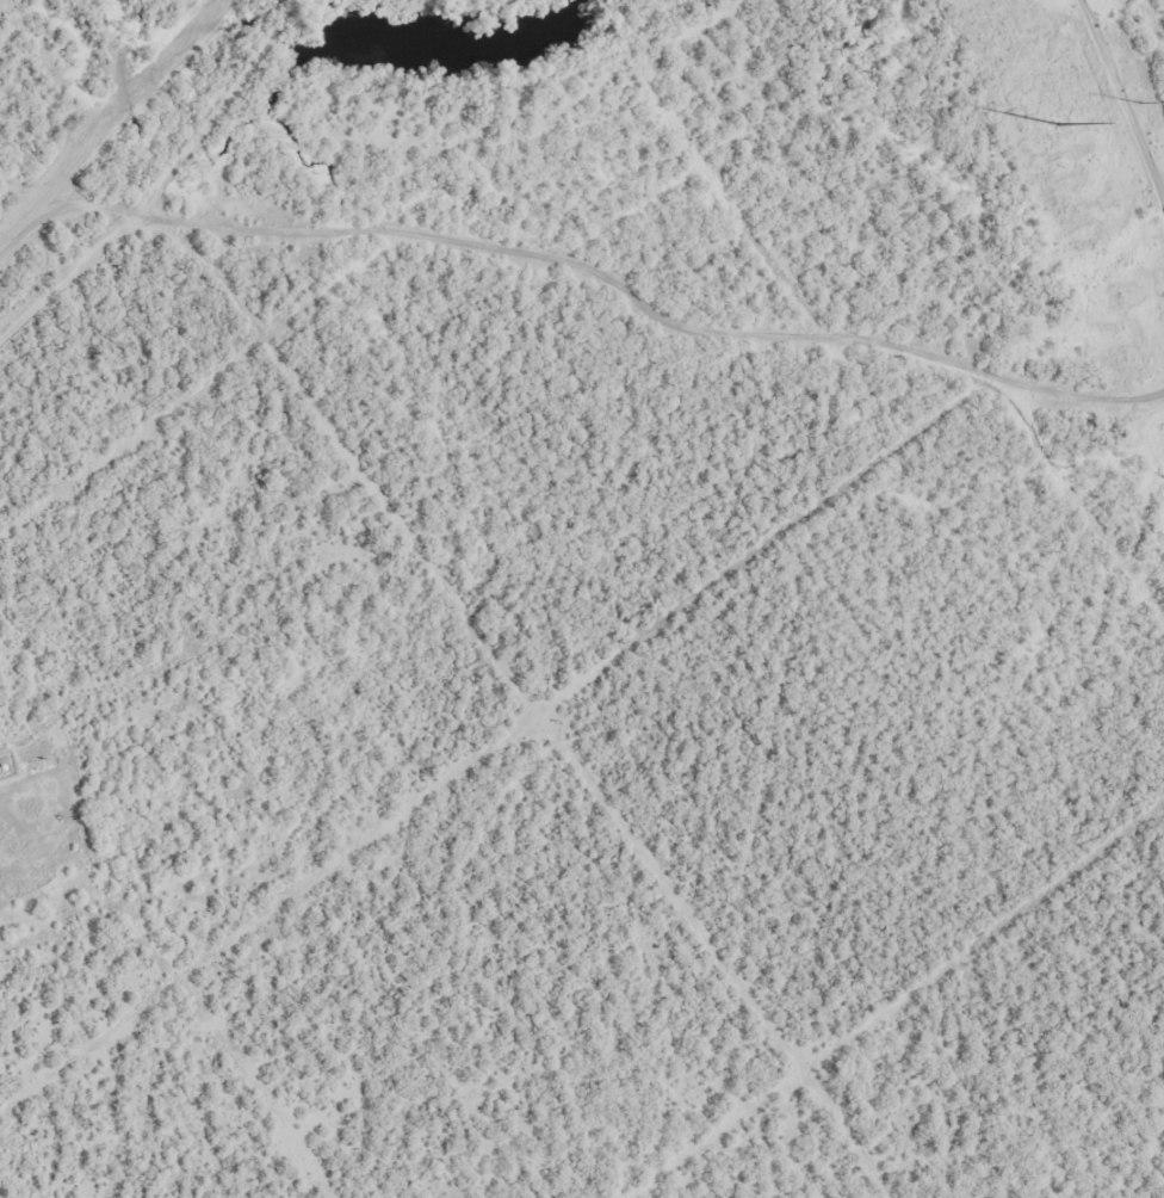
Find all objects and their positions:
road: (1131, 93)
power tower: (1135, 103)
power tower: (1059, 119)
road: (582, 288)

